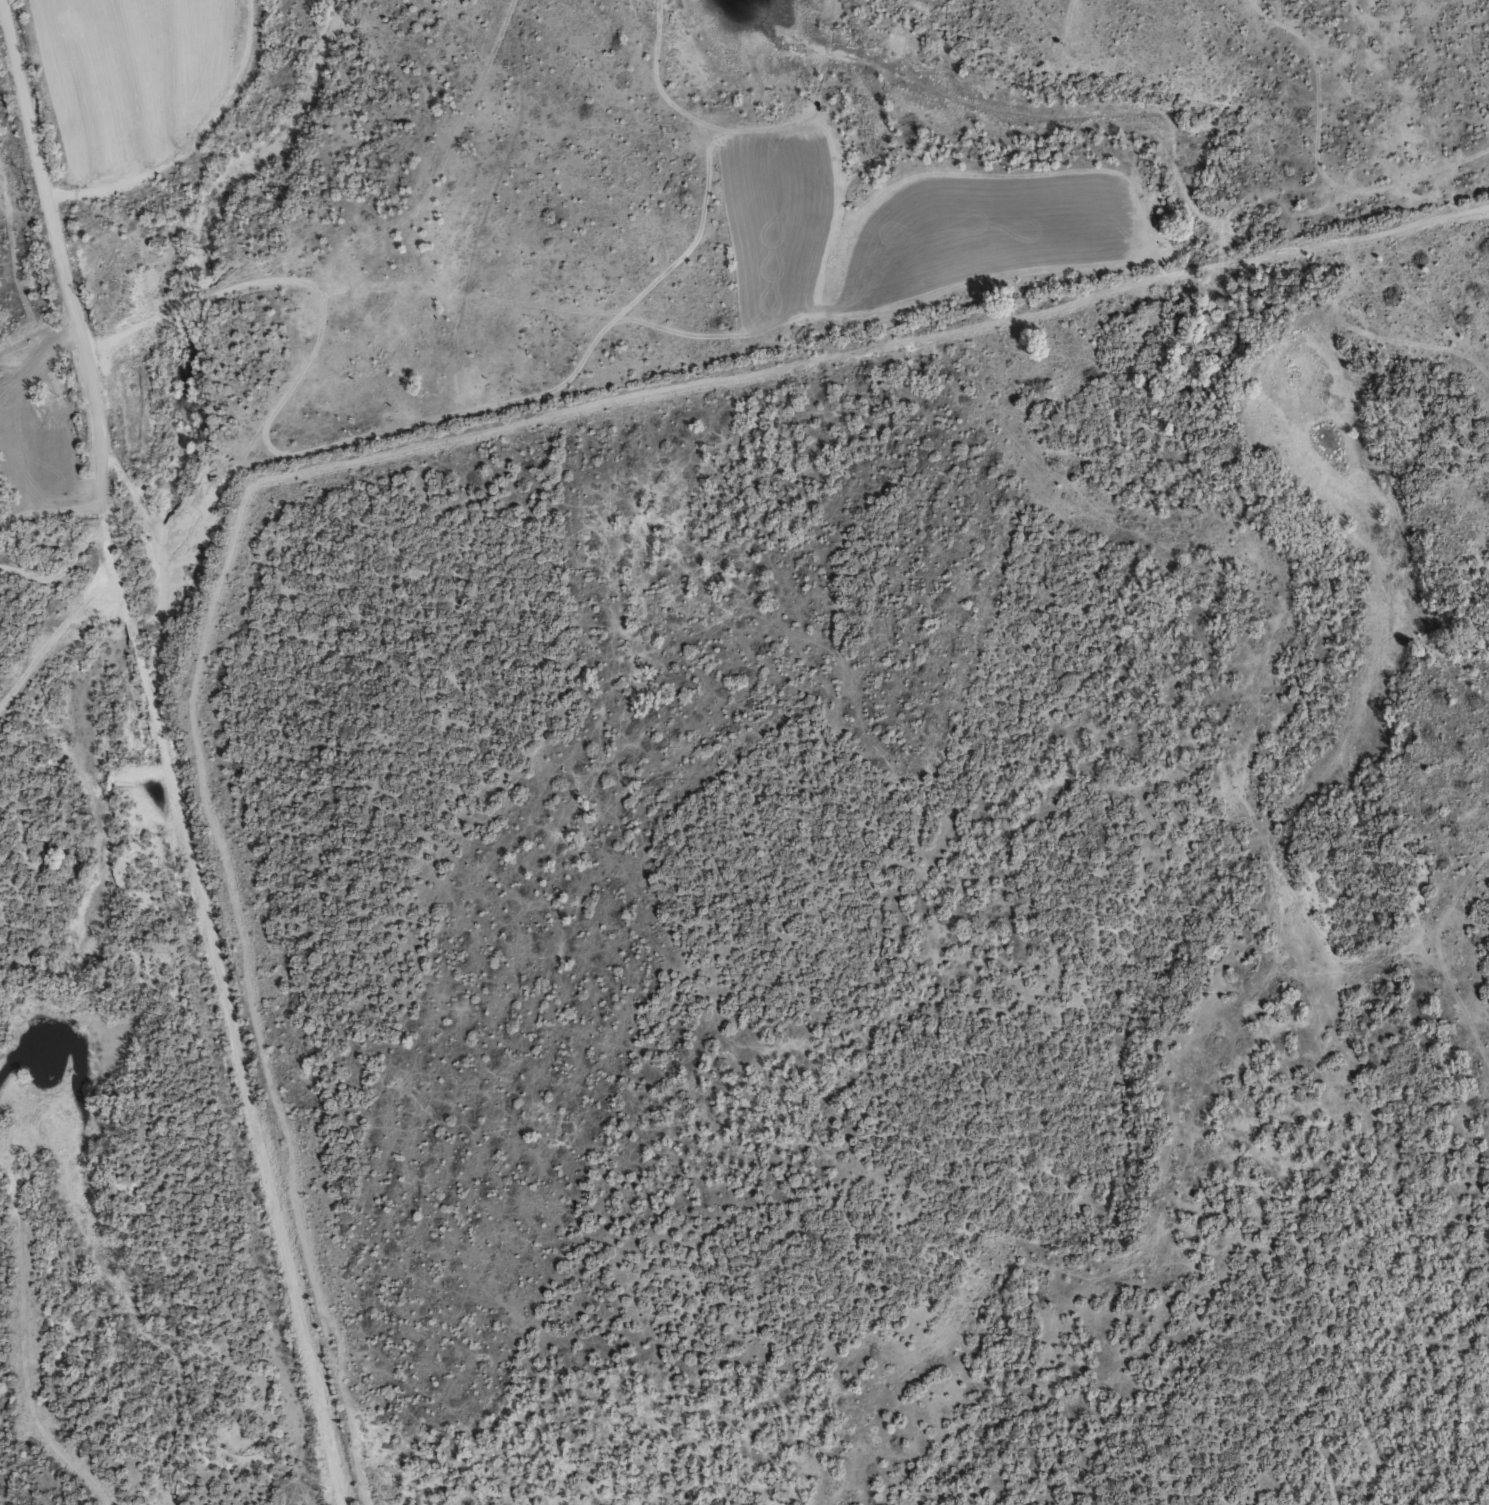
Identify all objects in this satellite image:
road: (50, 234)
road: (323, 304)
road: (894, 771)
road: (220, 980)

